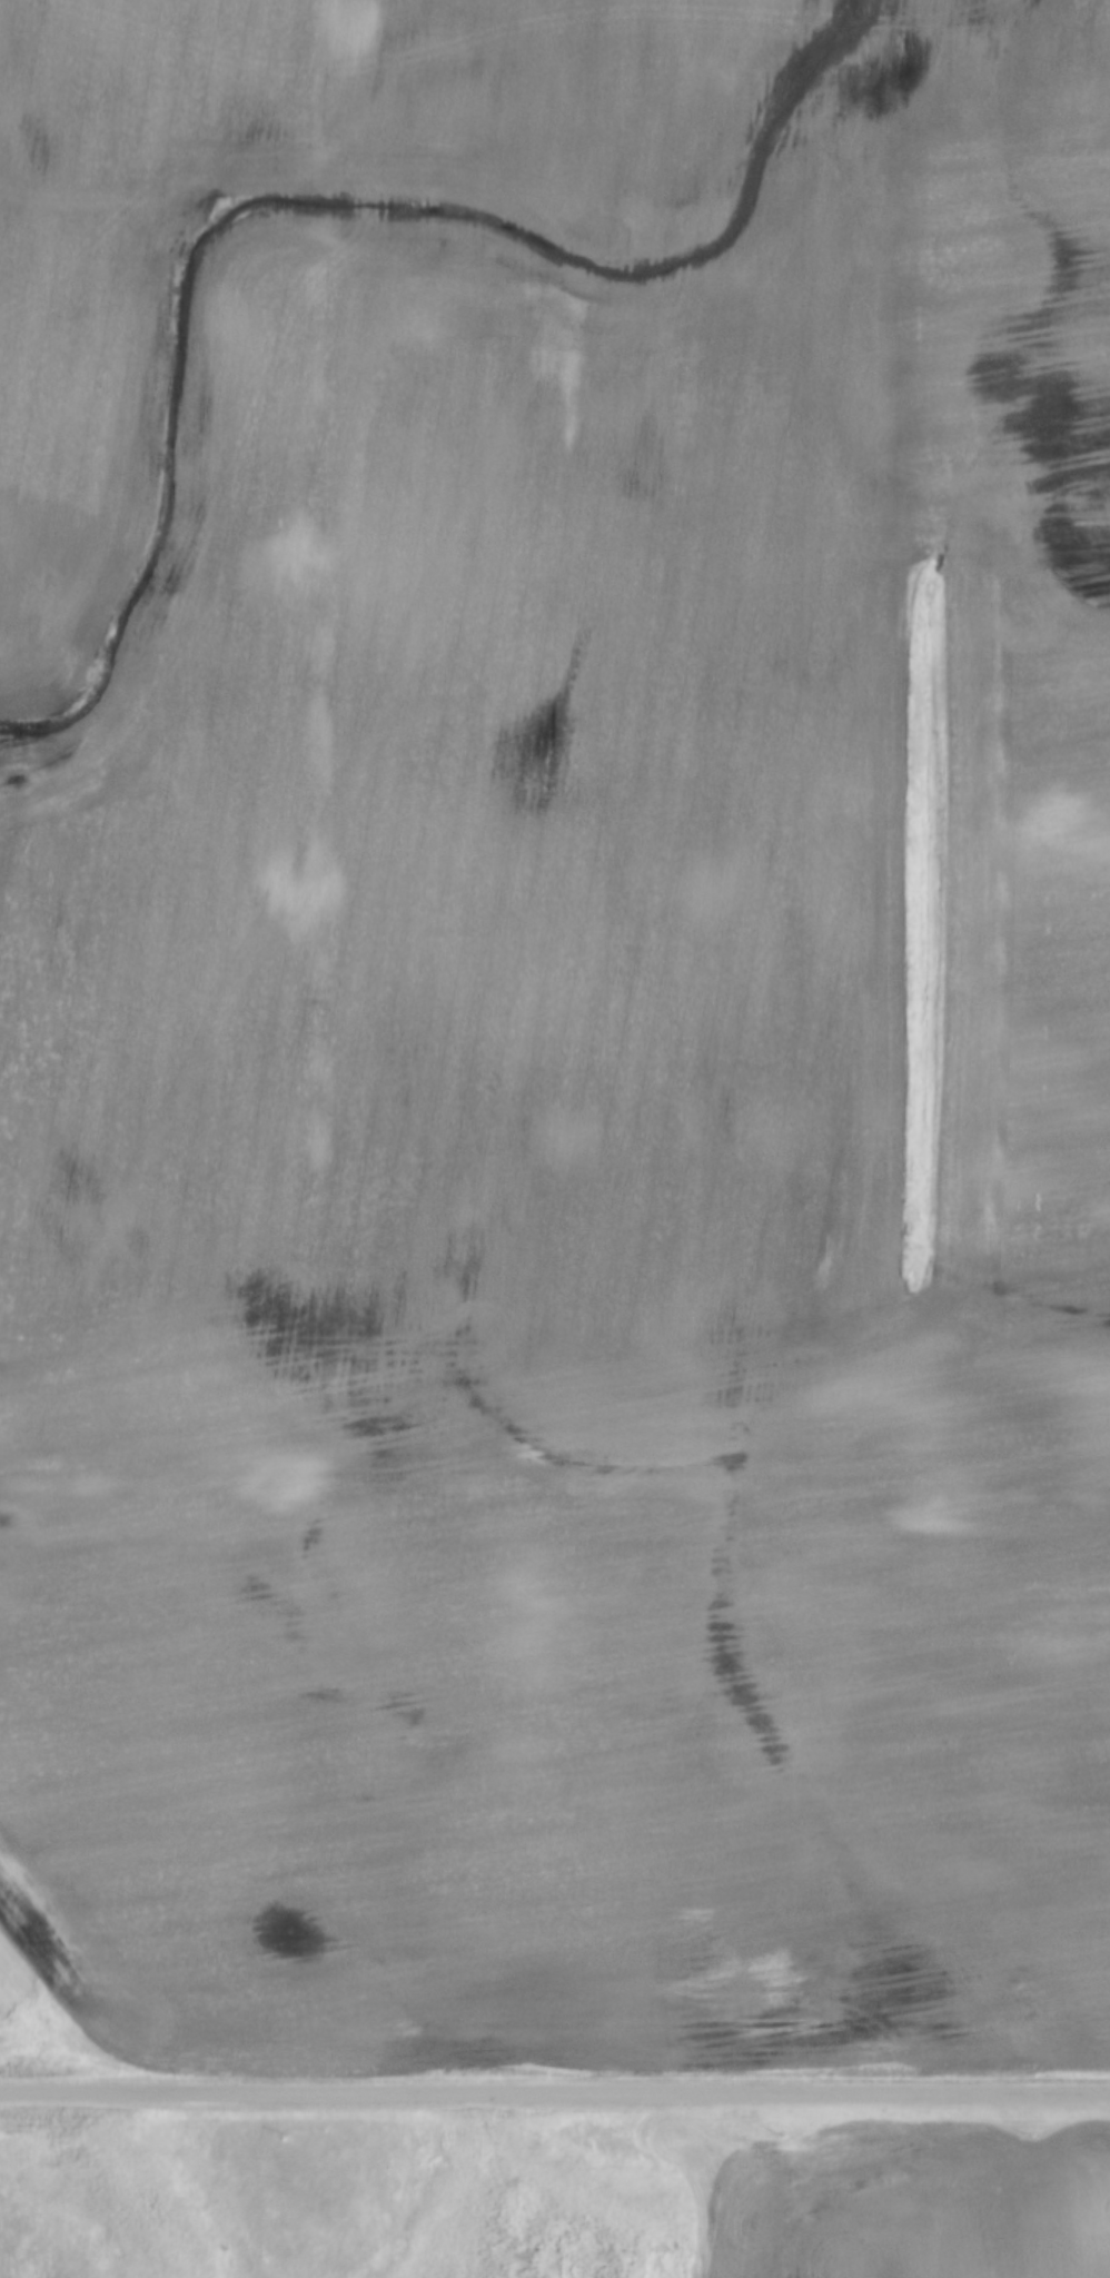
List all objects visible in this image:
road: (555, 2093)

